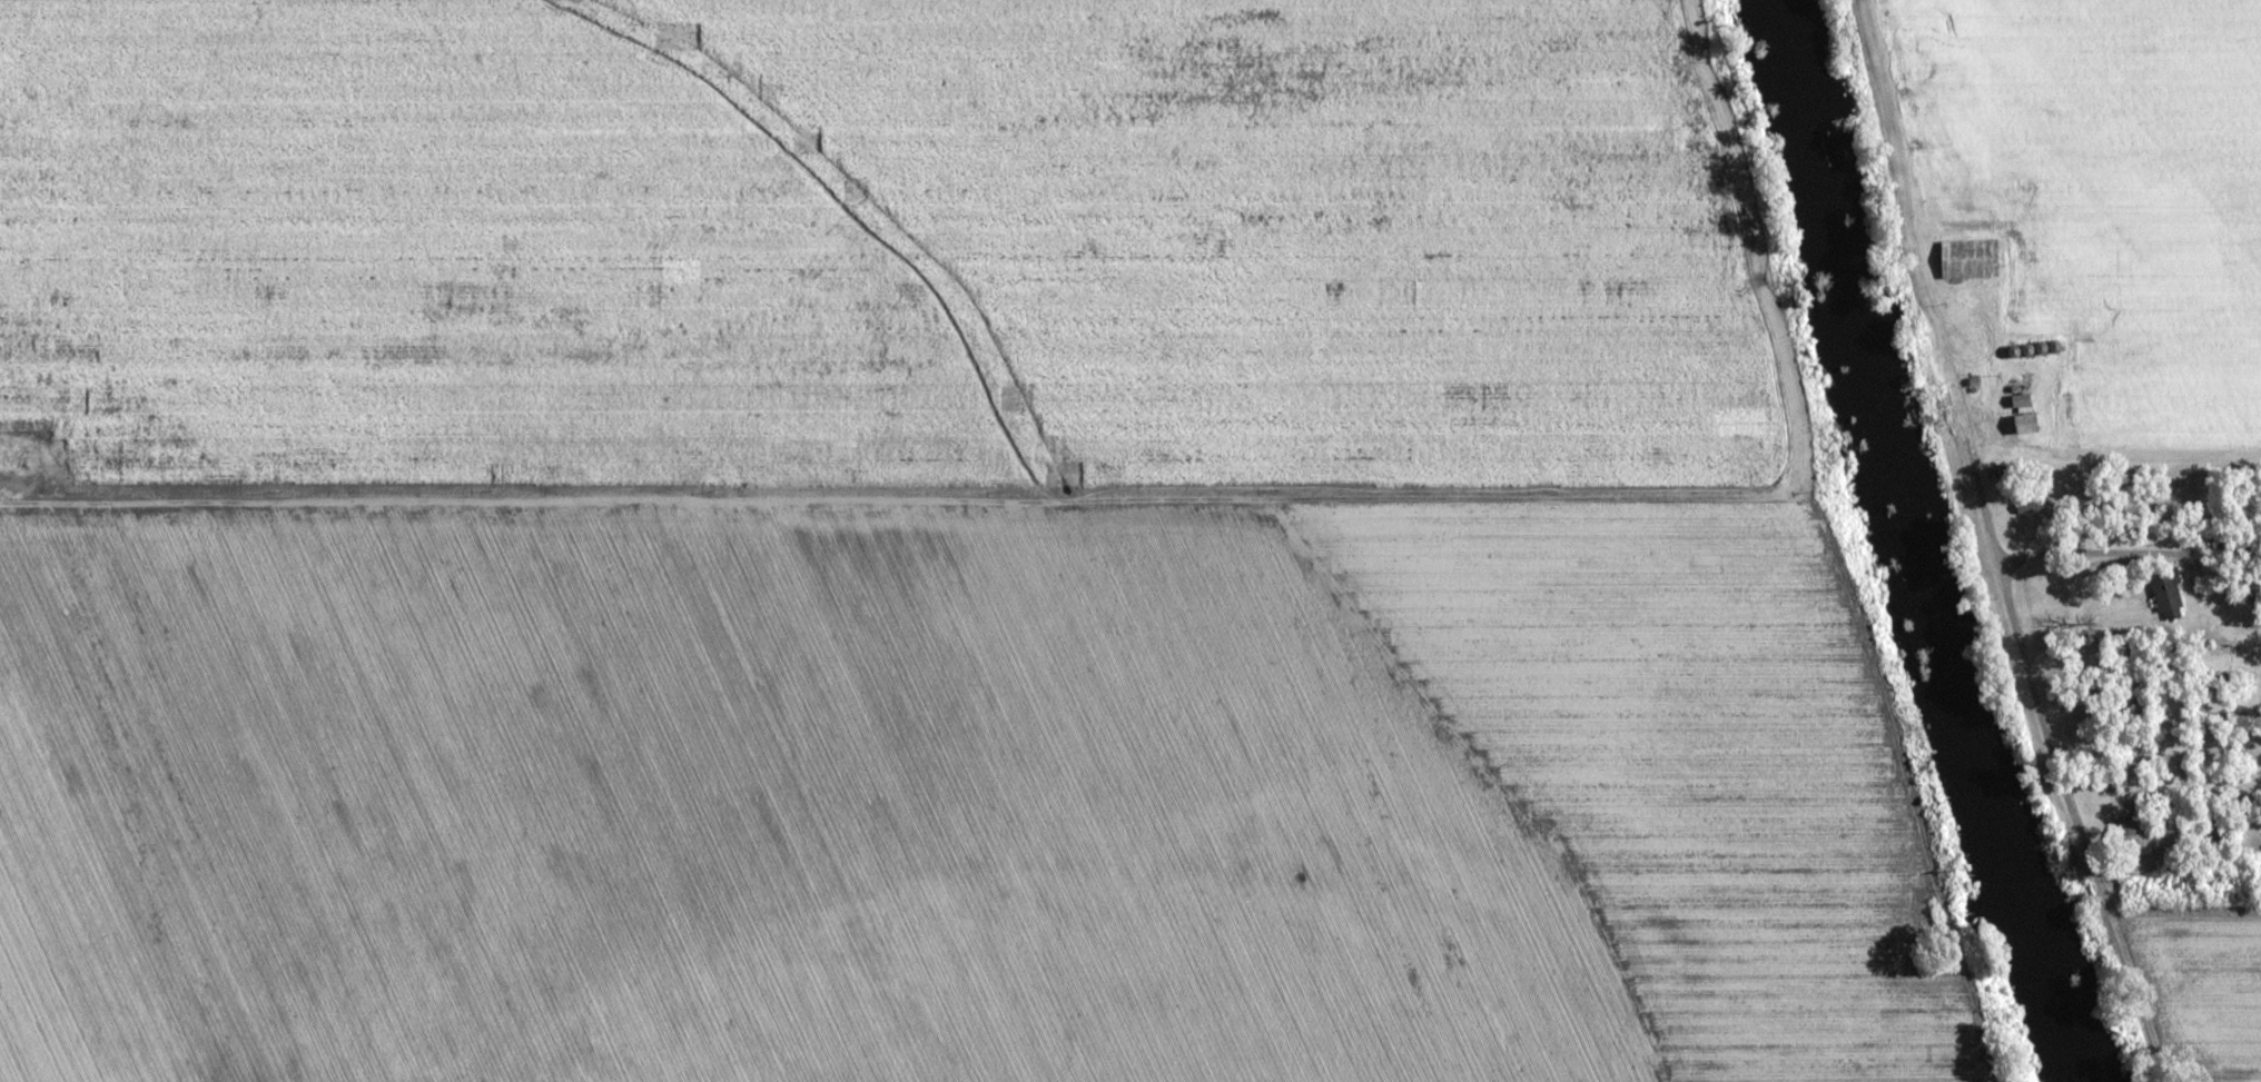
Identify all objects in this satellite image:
building: (1968, 259)
building: (2025, 424)
road: (1211, 500)
river: (1914, 544)
road: (1996, 545)
building: (2168, 595)
building: (2135, 837)

